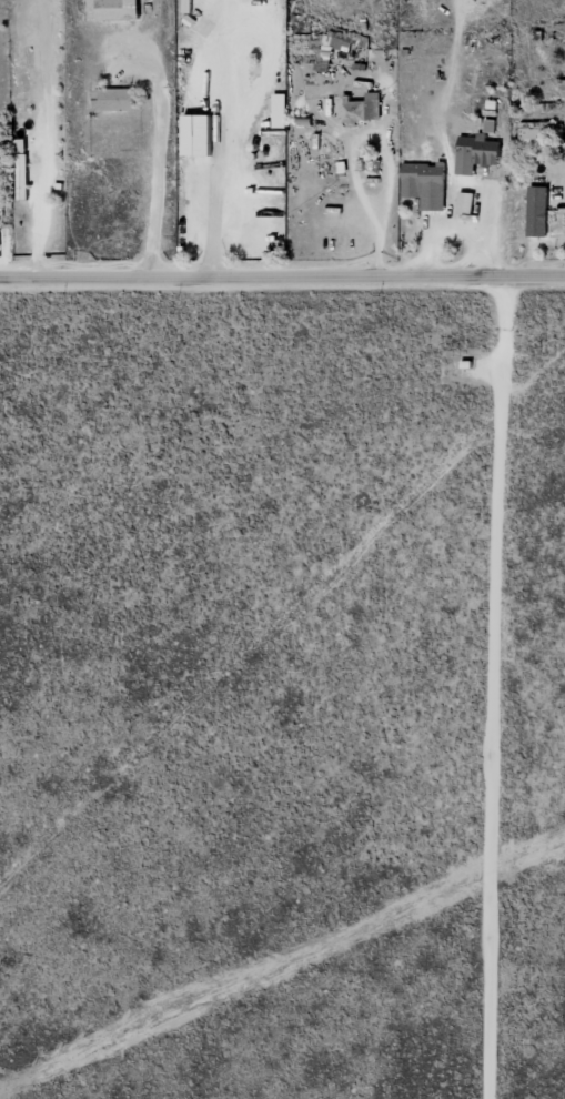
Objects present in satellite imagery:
building: (118, 9)
building: (334, 40)
building: (113, 99)
building: (360, 108)
building: (280, 110)
building: (488, 125)
building: (531, 133)
building: (196, 134)
building: (19, 144)
building: (0, 150)
building: (475, 153)
building: (21, 175)
building: (424, 184)
building: (464, 202)
building: (537, 210)
road: (282, 269)

